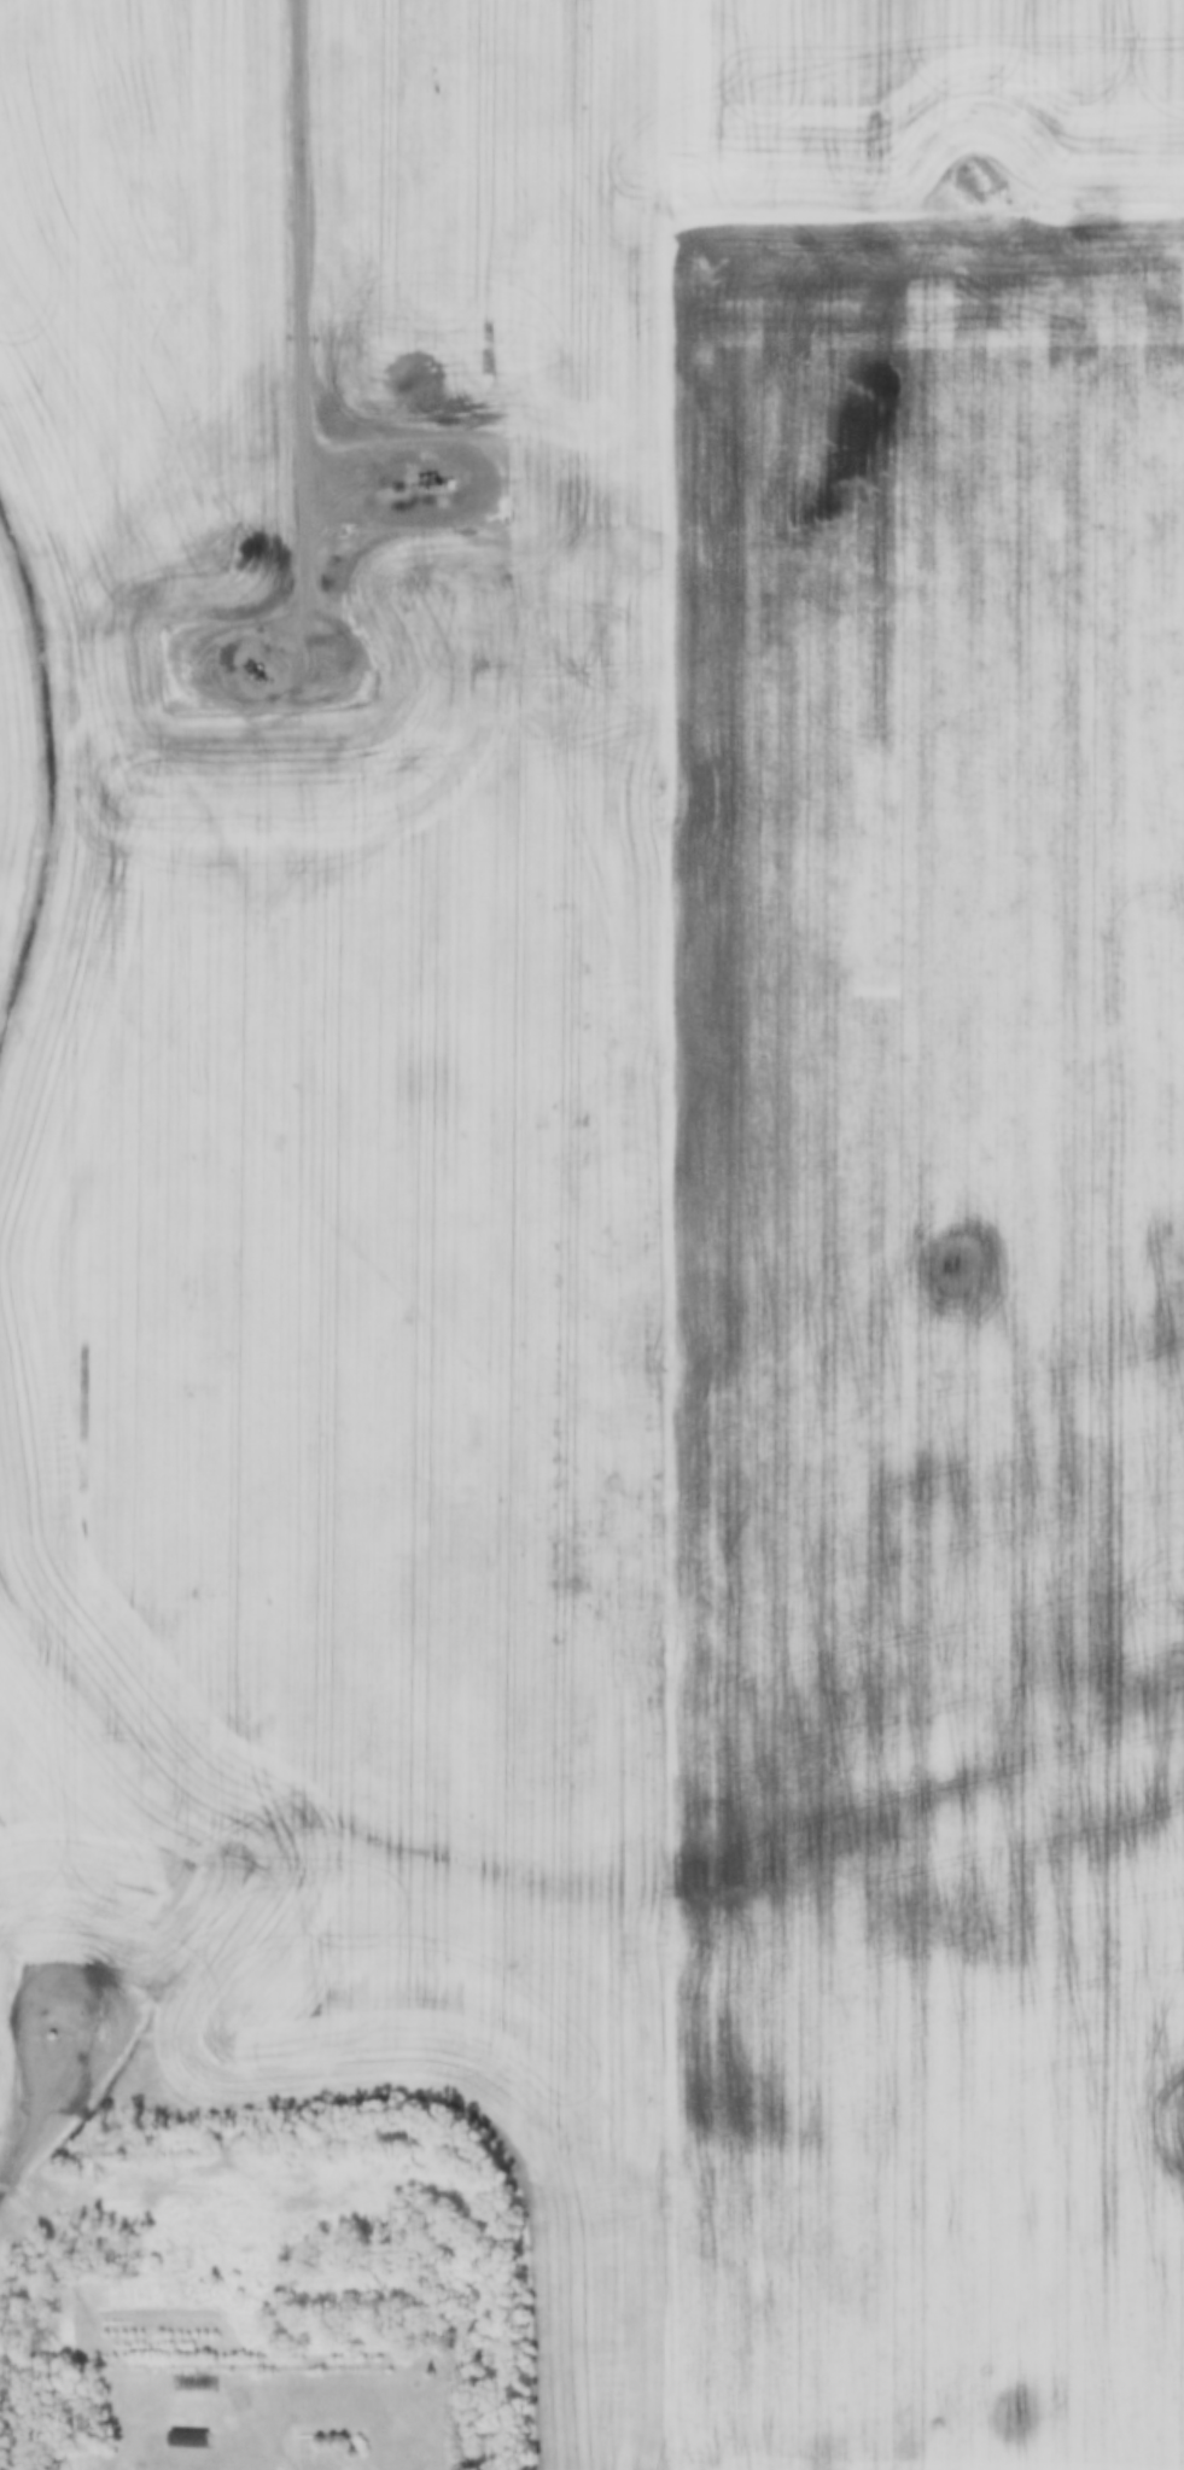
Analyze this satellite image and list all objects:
road: (23, 2131)
building: (186, 2436)
building: (294, 2465)

